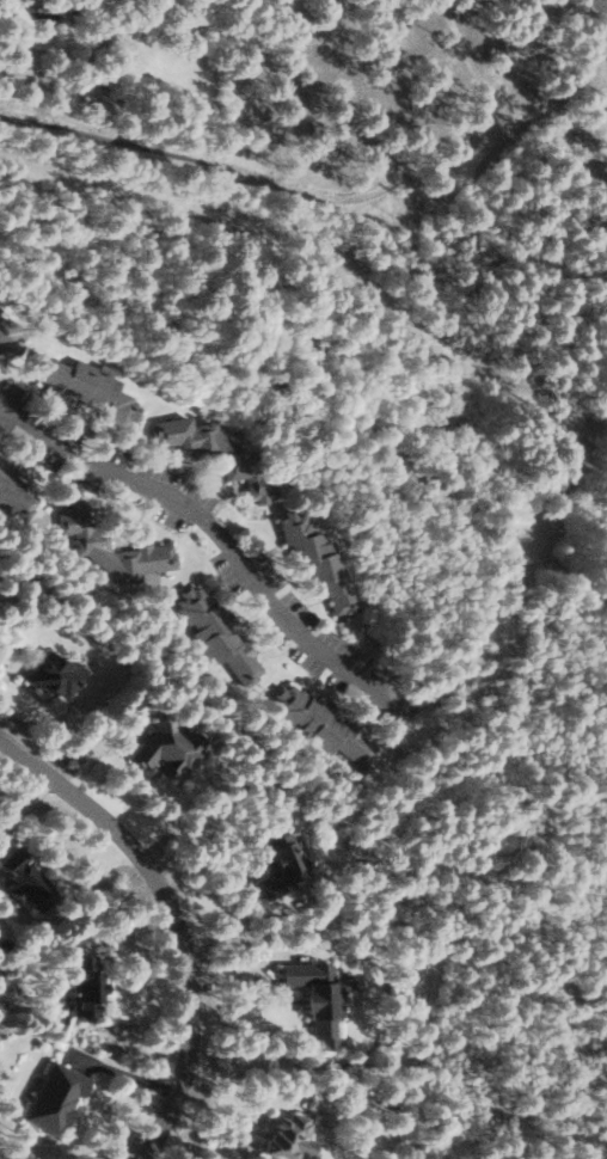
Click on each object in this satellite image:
road: (605, 1)
road: (593, 112)
road: (321, 195)
building: (1, 311)
building: (8, 339)
building: (87, 386)
building: (216, 453)
building: (14, 491)
building: (92, 540)
road: (215, 540)
building: (318, 558)
building: (219, 634)
building: (56, 674)
building: (323, 724)
building: (168, 748)
building: (280, 866)
building: (26, 882)
road: (177, 914)
park: (482, 944)
building: (86, 985)
building: (318, 997)
building: (56, 1097)
building: (288, 1136)

